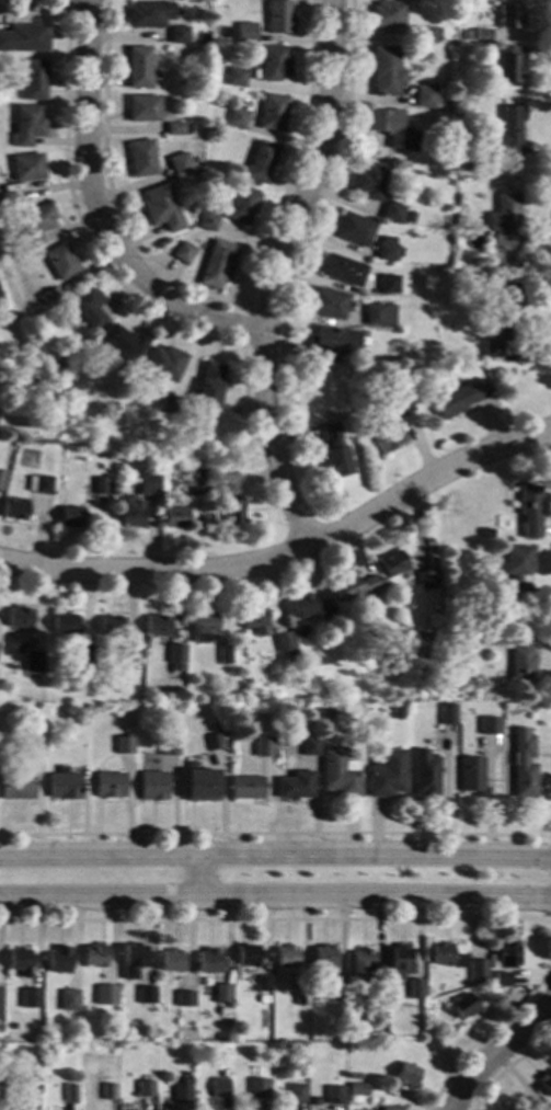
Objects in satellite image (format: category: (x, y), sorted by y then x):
road: (68, 3)
building: (387, 13)
building: (144, 14)
building: (278, 15)
building: (509, 15)
building: (177, 34)
building: (250, 34)
building: (425, 34)
building: (464, 34)
building: (481, 35)
building: (24, 38)
building: (217, 60)
building: (273, 62)
building: (509, 65)
building: (137, 67)
building: (386, 71)
building: (236, 75)
building: (33, 79)
building: (424, 98)
building: (142, 108)
building: (272, 112)
building: (236, 117)
building: (27, 125)
building: (390, 127)
building: (175, 128)
building: (507, 130)
building: (140, 158)
building: (260, 161)
building: (27, 167)
building: (471, 168)
building: (171, 170)
building: (369, 180)
road: (329, 184)
building: (8, 198)
building: (242, 205)
building: (160, 207)
road: (97, 211)
building: (392, 211)
building: (409, 217)
building: (505, 220)
road: (80, 221)
building: (206, 221)
building: (34, 224)
building: (354, 229)
building: (387, 250)
building: (183, 252)
building: (512, 258)
building: (60, 261)
building: (217, 264)
building: (342, 270)
road: (275, 273)
building: (388, 284)
building: (47, 296)
building: (0, 301)
road: (215, 301)
building: (328, 304)
building: (87, 305)
building: (378, 314)
building: (501, 317)
building: (122, 342)
building: (331, 344)
building: (504, 344)
road: (242, 346)
building: (163, 363)
building: (54, 369)
building: (64, 385)
building: (209, 385)
building: (458, 398)
building: (169, 404)
building: (390, 421)
building: (334, 451)
building: (1, 476)
building: (146, 483)
building: (38, 484)
building: (100, 485)
building: (195, 487)
building: (233, 497)
building: (15, 508)
building: (529, 510)
building: (129, 512)
building: (69, 516)
building: (174, 516)
road: (287, 551)
building: (392, 563)
building: (516, 565)
building: (424, 579)
building: (356, 586)
building: (467, 602)
building: (310, 607)
building: (19, 617)
building: (254, 620)
building: (425, 621)
building: (64, 623)
building: (487, 623)
building: (157, 625)
building: (110, 626)
building: (204, 626)
building: (284, 641)
building: (12, 644)
building: (417, 651)
building: (56, 652)
building: (175, 653)
building: (83, 654)
building: (225, 654)
building: (130, 655)
building: (520, 655)
building: (291, 656)
building: (33, 661)
building: (241, 689)
building: (330, 712)
building: (397, 713)
building: (446, 714)
building: (489, 724)
building: (186, 740)
building: (213, 742)
building: (279, 742)
building: (123, 745)
building: (168, 746)
building: (262, 746)
building: (309, 746)
building: (33, 747)
building: (523, 771)
building: (337, 773)
building: (425, 773)
building: (386, 775)
building: (471, 776)
building: (199, 782)
building: (15, 785)
building: (62, 785)
building: (108, 785)
building: (294, 785)
building: (151, 786)
building: (245, 787)
road: (275, 834)
road: (275, 858)
road: (195, 880)
road: (275, 901)
road: (275, 919)
building: (93, 954)
building: (246, 954)
building: (506, 954)
building: (444, 955)
building: (285, 957)
building: (322, 958)
building: (57, 960)
building: (131, 960)
building: (170, 960)
building: (19, 961)
building: (208, 961)
building: (399, 961)
building: (360, 963)
building: (477, 969)
building: (501, 979)
building: (261, 983)
building: (414, 988)
building: (0, 992)
building: (335, 992)
building: (110, 993)
building: (221, 993)
building: (376, 993)
building: (146, 995)
building: (299, 996)
building: (30, 997)
building: (71, 998)
building: (183, 998)
building: (461, 1005)
building: (261, 1018)
building: (12, 1023)
road: (491, 1028)
building: (433, 1043)
road: (496, 1052)
road: (506, 1065)
building: (225, 1072)
building: (405, 1075)
building: (185, 1080)
building: (544, 1083)
building: (32, 1084)
building: (219, 1087)
building: (145, 1088)
building: (257, 1089)
building: (357, 1089)
building: (107, 1091)
building: (69, 1092)
building: (296, 1092)
building: (181, 1094)
building: (334, 1095)
building: (15, 1106)
building: (546, 1107)
building: (390, 1108)

